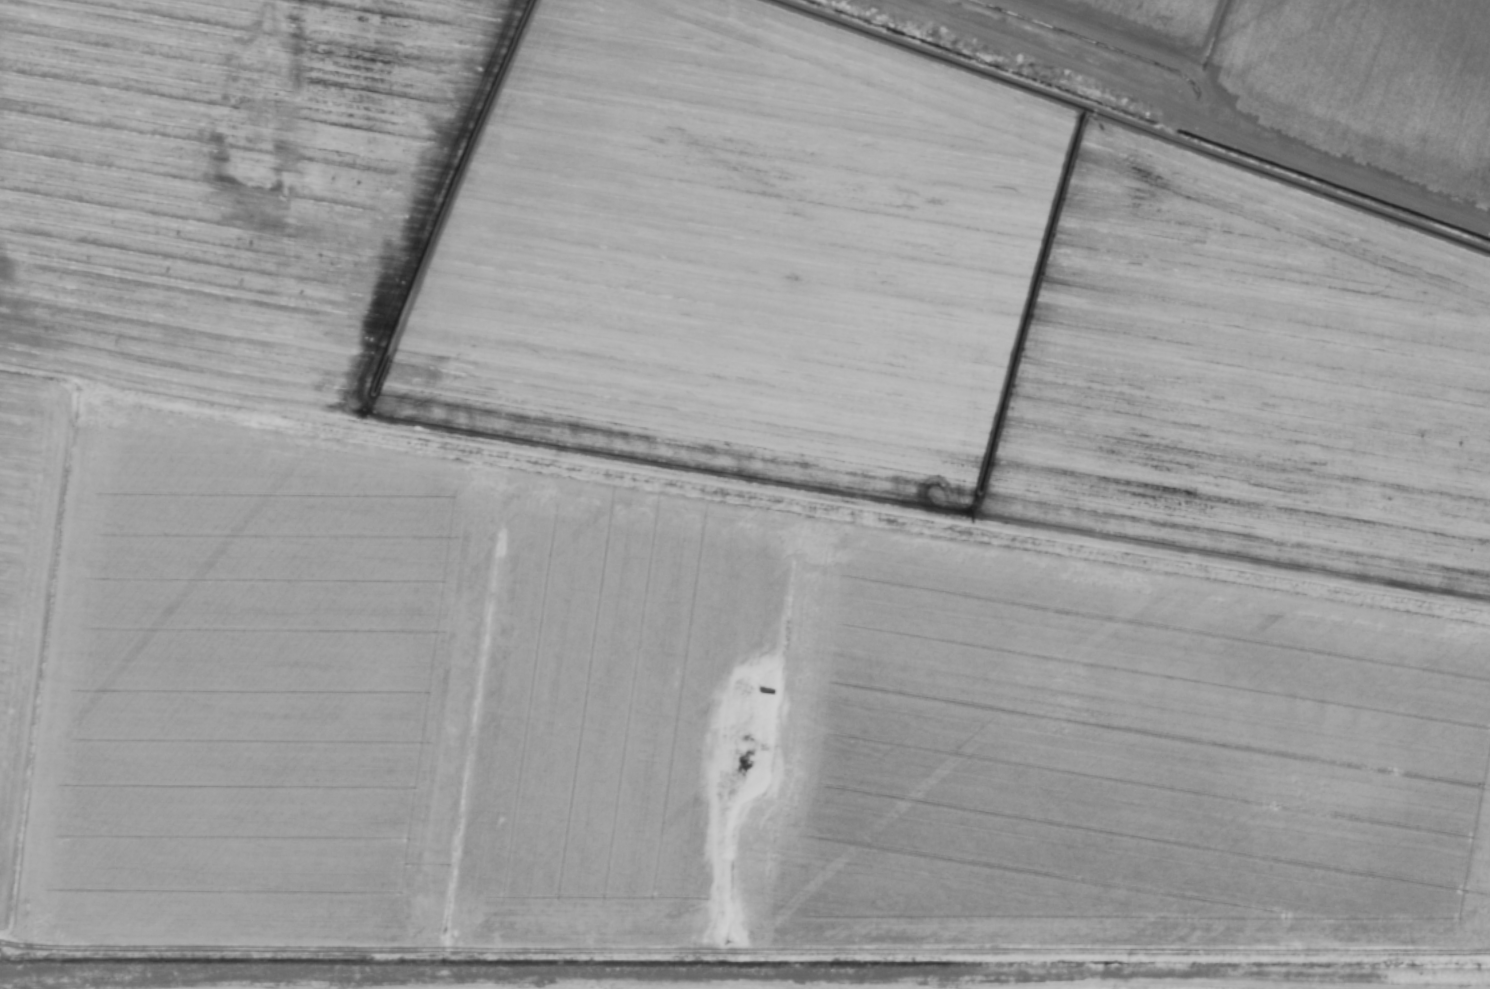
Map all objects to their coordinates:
crop: (745, 494)
road: (744, 954)

